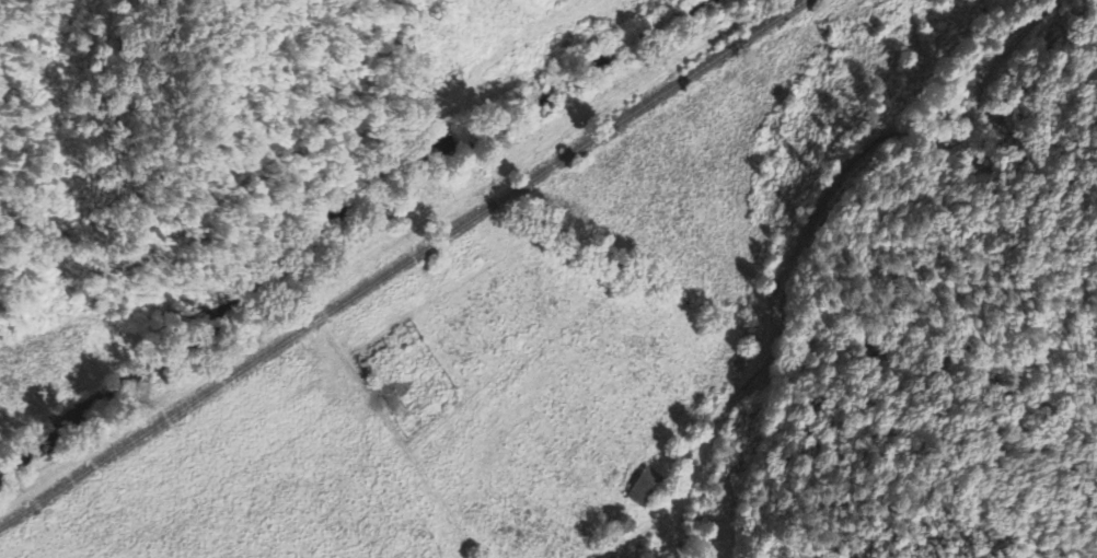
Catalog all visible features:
road: (903, 131)
river: (332, 196)
road: (402, 234)
railway: (403, 263)
road: (705, 439)
building: (640, 492)

